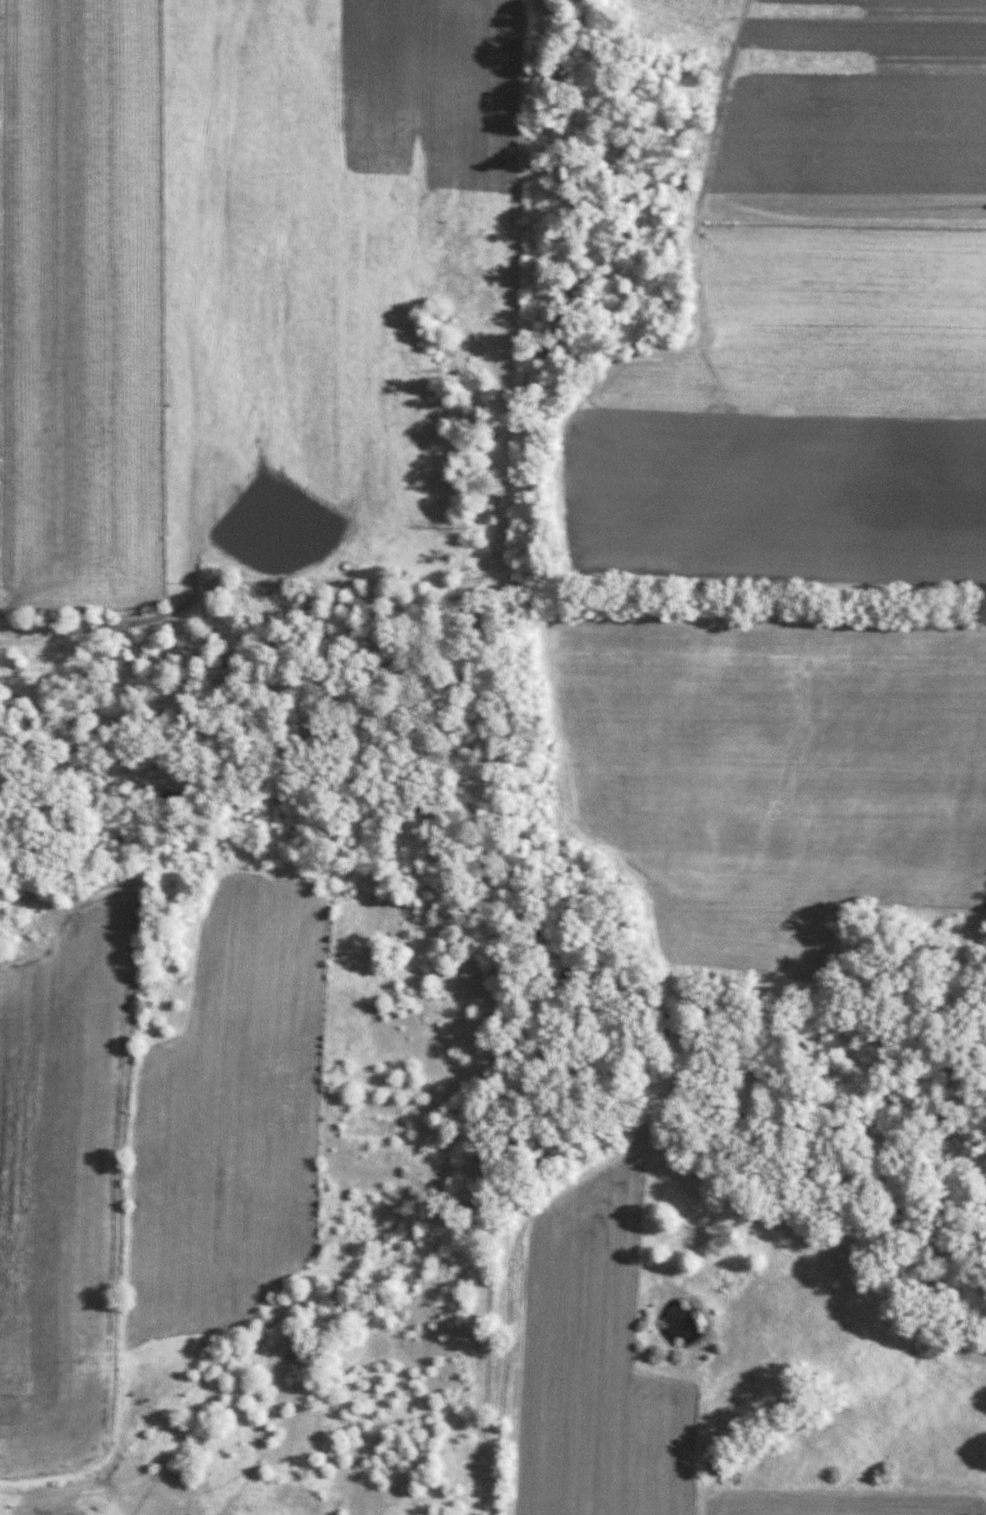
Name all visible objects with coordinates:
road: (755, 25)
road: (506, 1292)

